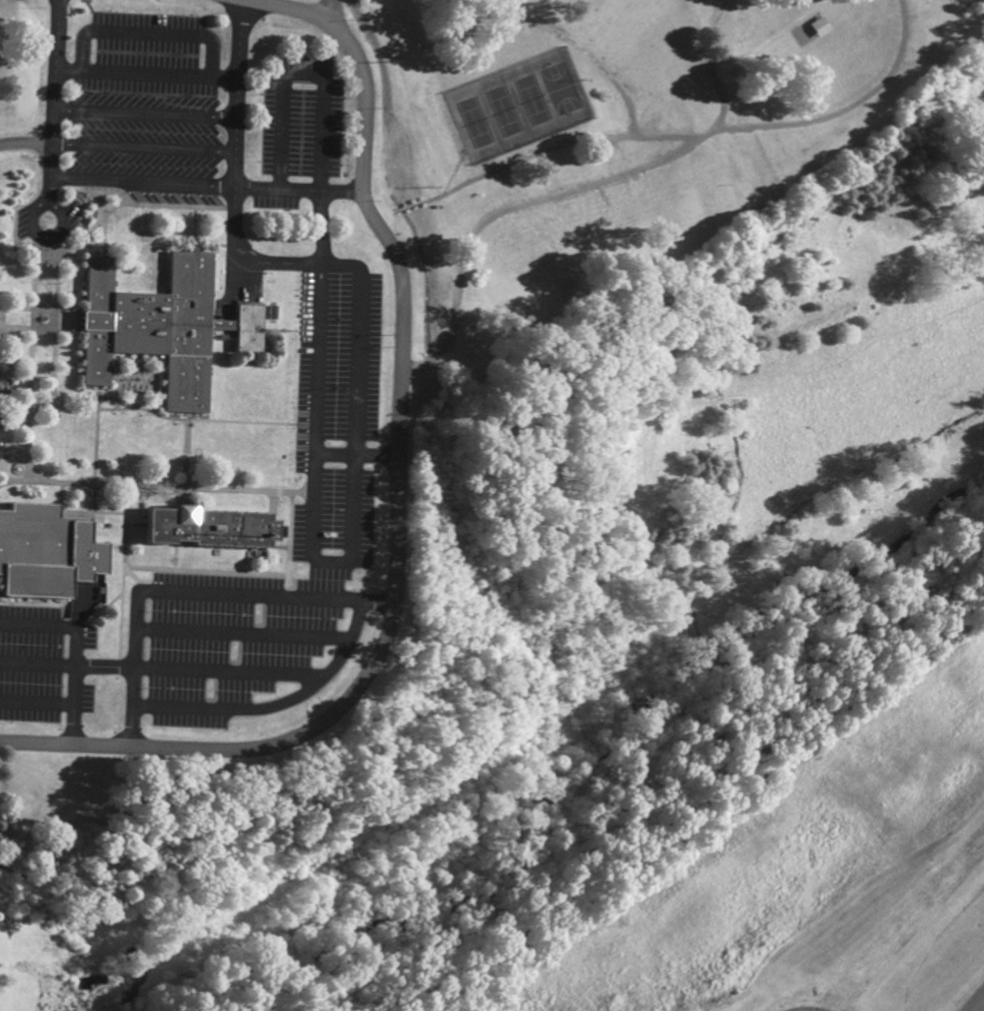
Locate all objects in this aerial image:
road: (284, 8)
building: (818, 27)
road: (146, 31)
road: (583, 47)
road: (945, 56)
road: (714, 65)
road: (145, 70)
road: (306, 73)
road: (53, 94)
road: (846, 107)
park: (522, 108)
road: (144, 112)
parking lot: (146, 112)
parking lot: (304, 116)
road: (142, 145)
road: (545, 152)
road: (235, 169)
road: (123, 181)
road: (301, 188)
road: (50, 191)
road: (99, 191)
road: (129, 204)
road: (513, 207)
road: (322, 226)
road: (39, 235)
road: (101, 245)
road: (322, 265)
building: (161, 328)
road: (61, 368)
road: (38, 373)
road: (54, 397)
road: (69, 406)
road: (148, 410)
parking lot: (342, 416)
road: (213, 420)
road: (356, 454)
road: (3, 480)
road: (155, 486)
road: (133, 498)
road: (131, 518)
building: (201, 529)
road: (390, 536)
building: (44, 551)
road: (252, 571)
road: (374, 598)
road: (247, 631)
parking lot: (236, 641)
road: (68, 661)
road: (76, 661)
parking lot: (32, 662)
road: (233, 669)
road: (325, 678)
road: (71, 722)
road: (133, 727)
airport: (824, 882)

